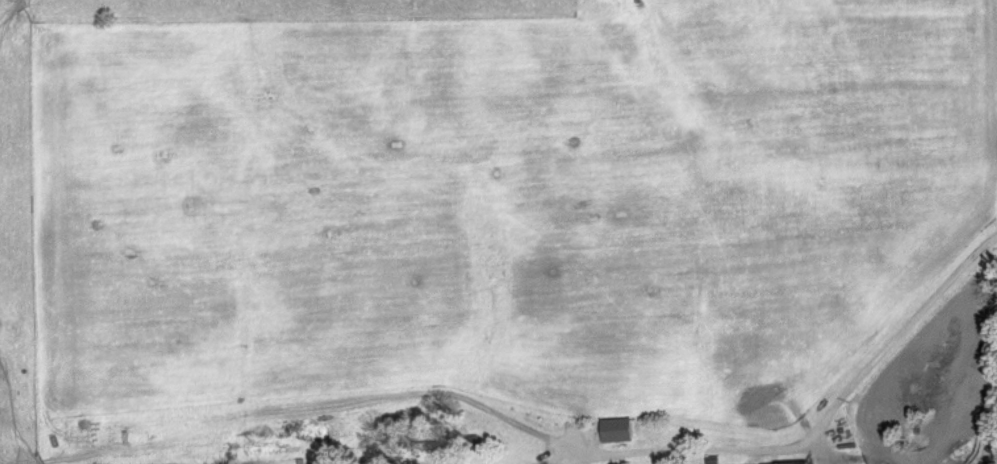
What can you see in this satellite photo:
road: (821, 430)
building: (621, 432)
building: (806, 463)

